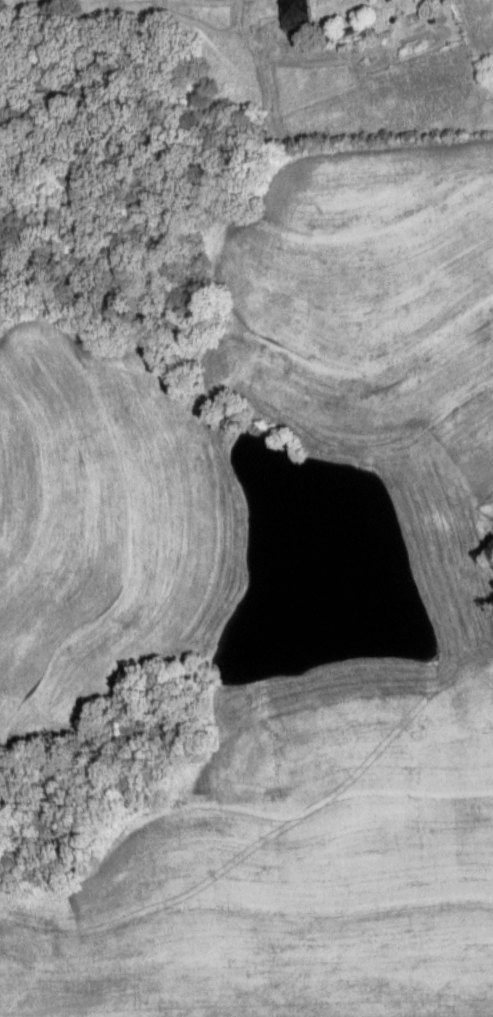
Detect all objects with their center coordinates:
building: (296, 15)

